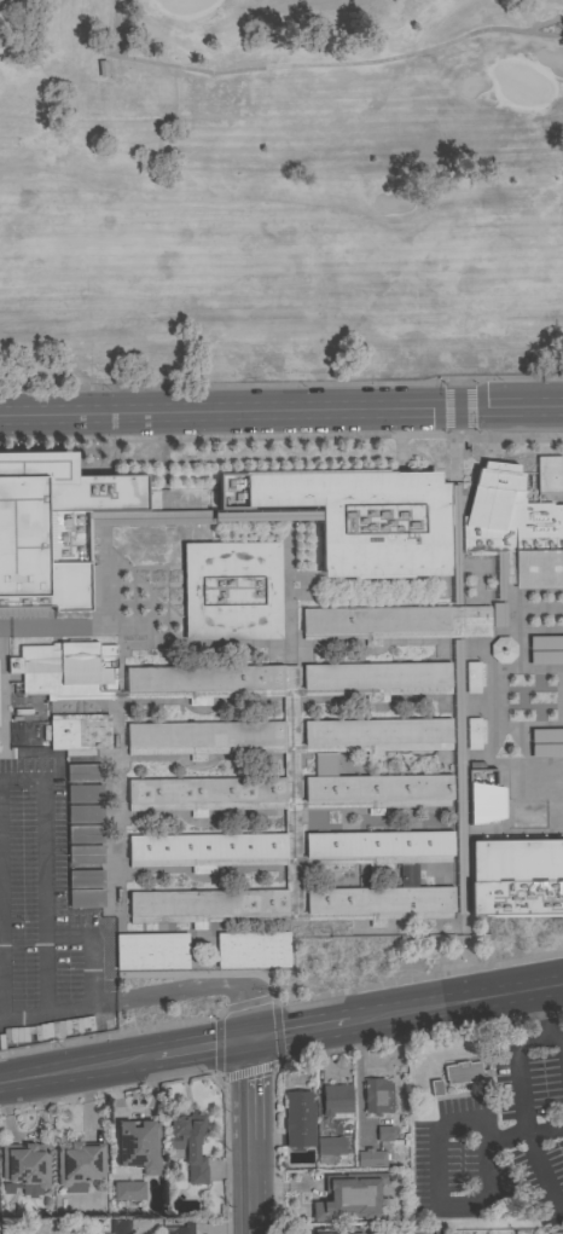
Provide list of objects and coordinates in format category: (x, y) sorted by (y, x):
road: (542, 24)
road: (515, 31)
road: (158, 64)
park: (280, 192)
road: (281, 410)
road: (280, 435)
road: (399, 453)
road: (423, 465)
building: (547, 474)
road: (162, 477)
building: (562, 481)
road: (95, 518)
road: (156, 518)
building: (364, 518)
road: (453, 520)
building: (53, 526)
building: (513, 529)
road: (475, 563)
road: (180, 566)
road: (371, 575)
road: (288, 581)
building: (232, 591)
road: (506, 591)
road: (530, 608)
road: (31, 610)
building: (498, 614)
building: (395, 624)
road: (4, 625)
road: (75, 625)
road: (521, 630)
road: (520, 638)
road: (455, 641)
building: (545, 642)
road: (452, 643)
building: (503, 649)
building: (545, 657)
road: (523, 668)
building: (66, 670)
building: (471, 678)
road: (539, 678)
building: (202, 679)
building: (375, 679)
road: (522, 688)
road: (1, 690)
road: (486, 696)
road: (559, 696)
road: (387, 699)
road: (521, 699)
road: (289, 701)
road: (175, 702)
road: (523, 709)
road: (536, 717)
road: (524, 725)
building: (79, 732)
building: (472, 734)
building: (204, 735)
building: (546, 735)
building: (375, 736)
road: (526, 743)
building: (546, 751)
building: (77, 752)
road: (284, 755)
road: (92, 759)
road: (534, 763)
building: (83, 772)
road: (507, 780)
building: (373, 789)
building: (204, 790)
building: (85, 794)
road: (552, 795)
building: (483, 798)
road: (301, 812)
building: (85, 813)
road: (511, 829)
building: (85, 834)
road: (290, 839)
road: (106, 841)
road: (120, 847)
building: (207, 847)
building: (378, 847)
building: (85, 853)
road: (445, 869)
road: (45, 874)
building: (86, 879)
building: (516, 879)
building: (86, 898)
building: (381, 899)
building: (210, 903)
road: (88, 909)
parking lot: (42, 916)
road: (179, 929)
road: (379, 931)
road: (91, 948)
building: (251, 949)
building: (151, 950)
road: (416, 978)
road: (0, 983)
road: (204, 986)
road: (246, 1002)
road: (405, 1009)
road: (57, 1010)
road: (545, 1025)
road: (112, 1033)
traffic signals: (248, 1038)
road: (123, 1059)
building: (469, 1072)
building: (436, 1088)
road: (520, 1094)
building: (377, 1096)
building: (336, 1100)
building: (300, 1120)
building: (384, 1134)
road: (250, 1136)
building: (188, 1142)
building: (139, 1146)
building: (330, 1149)
building: (371, 1158)
building: (80, 1163)
building: (27, 1165)
building: (365, 1180)
building: (129, 1190)
building: (325, 1197)
building: (120, 1227)
building: (179, 1228)
building: (337, 1230)
building: (556, 1233)

